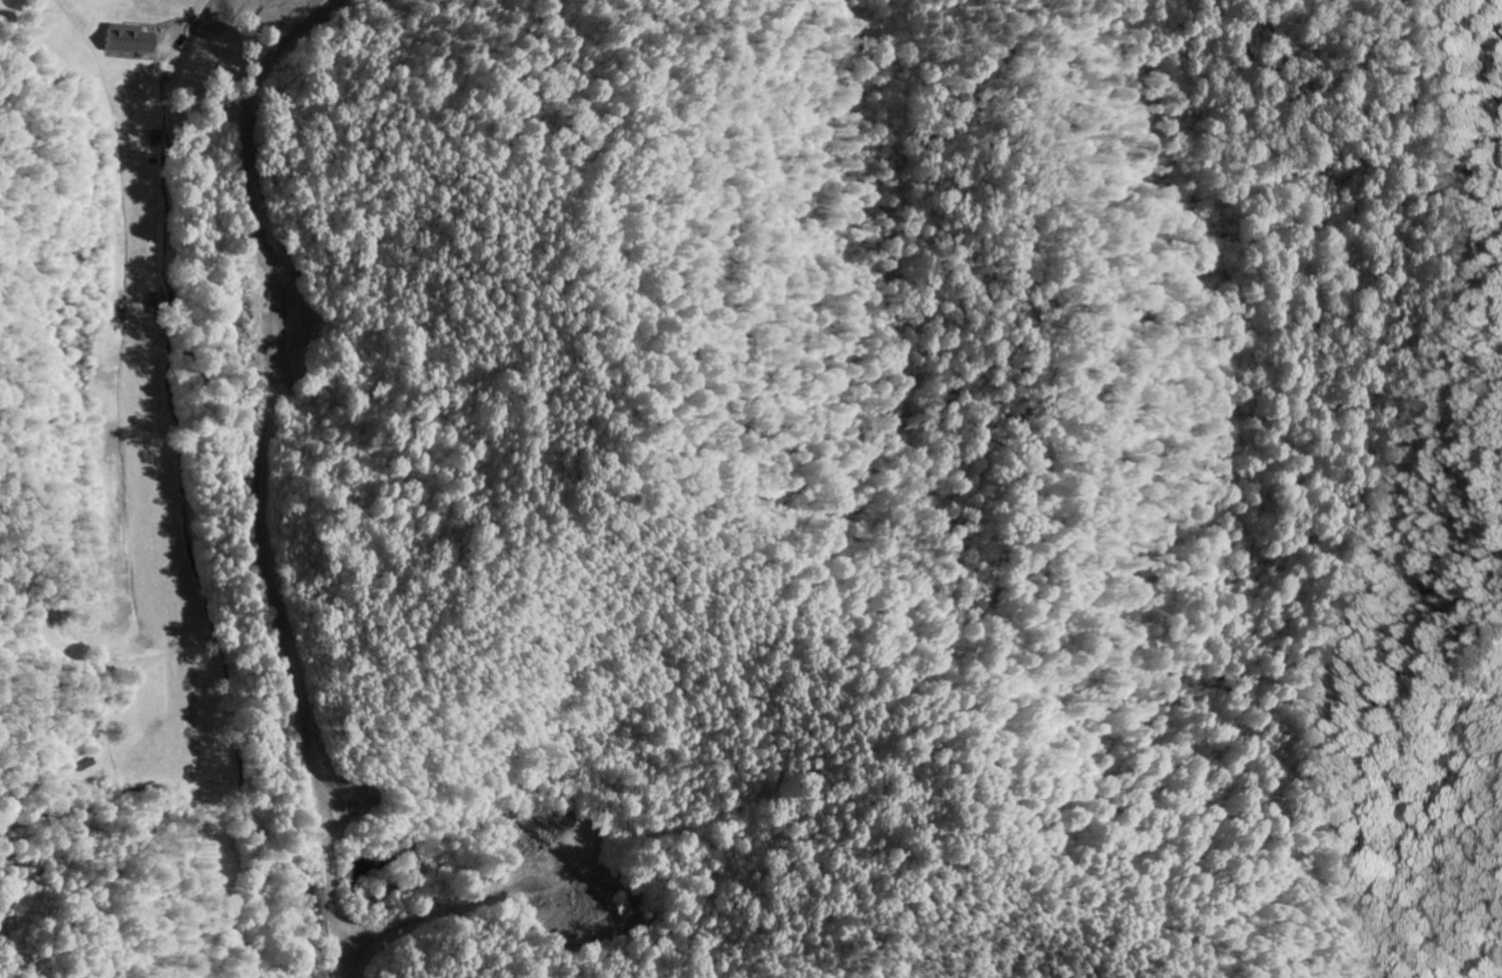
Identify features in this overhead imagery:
building: (129, 40)

